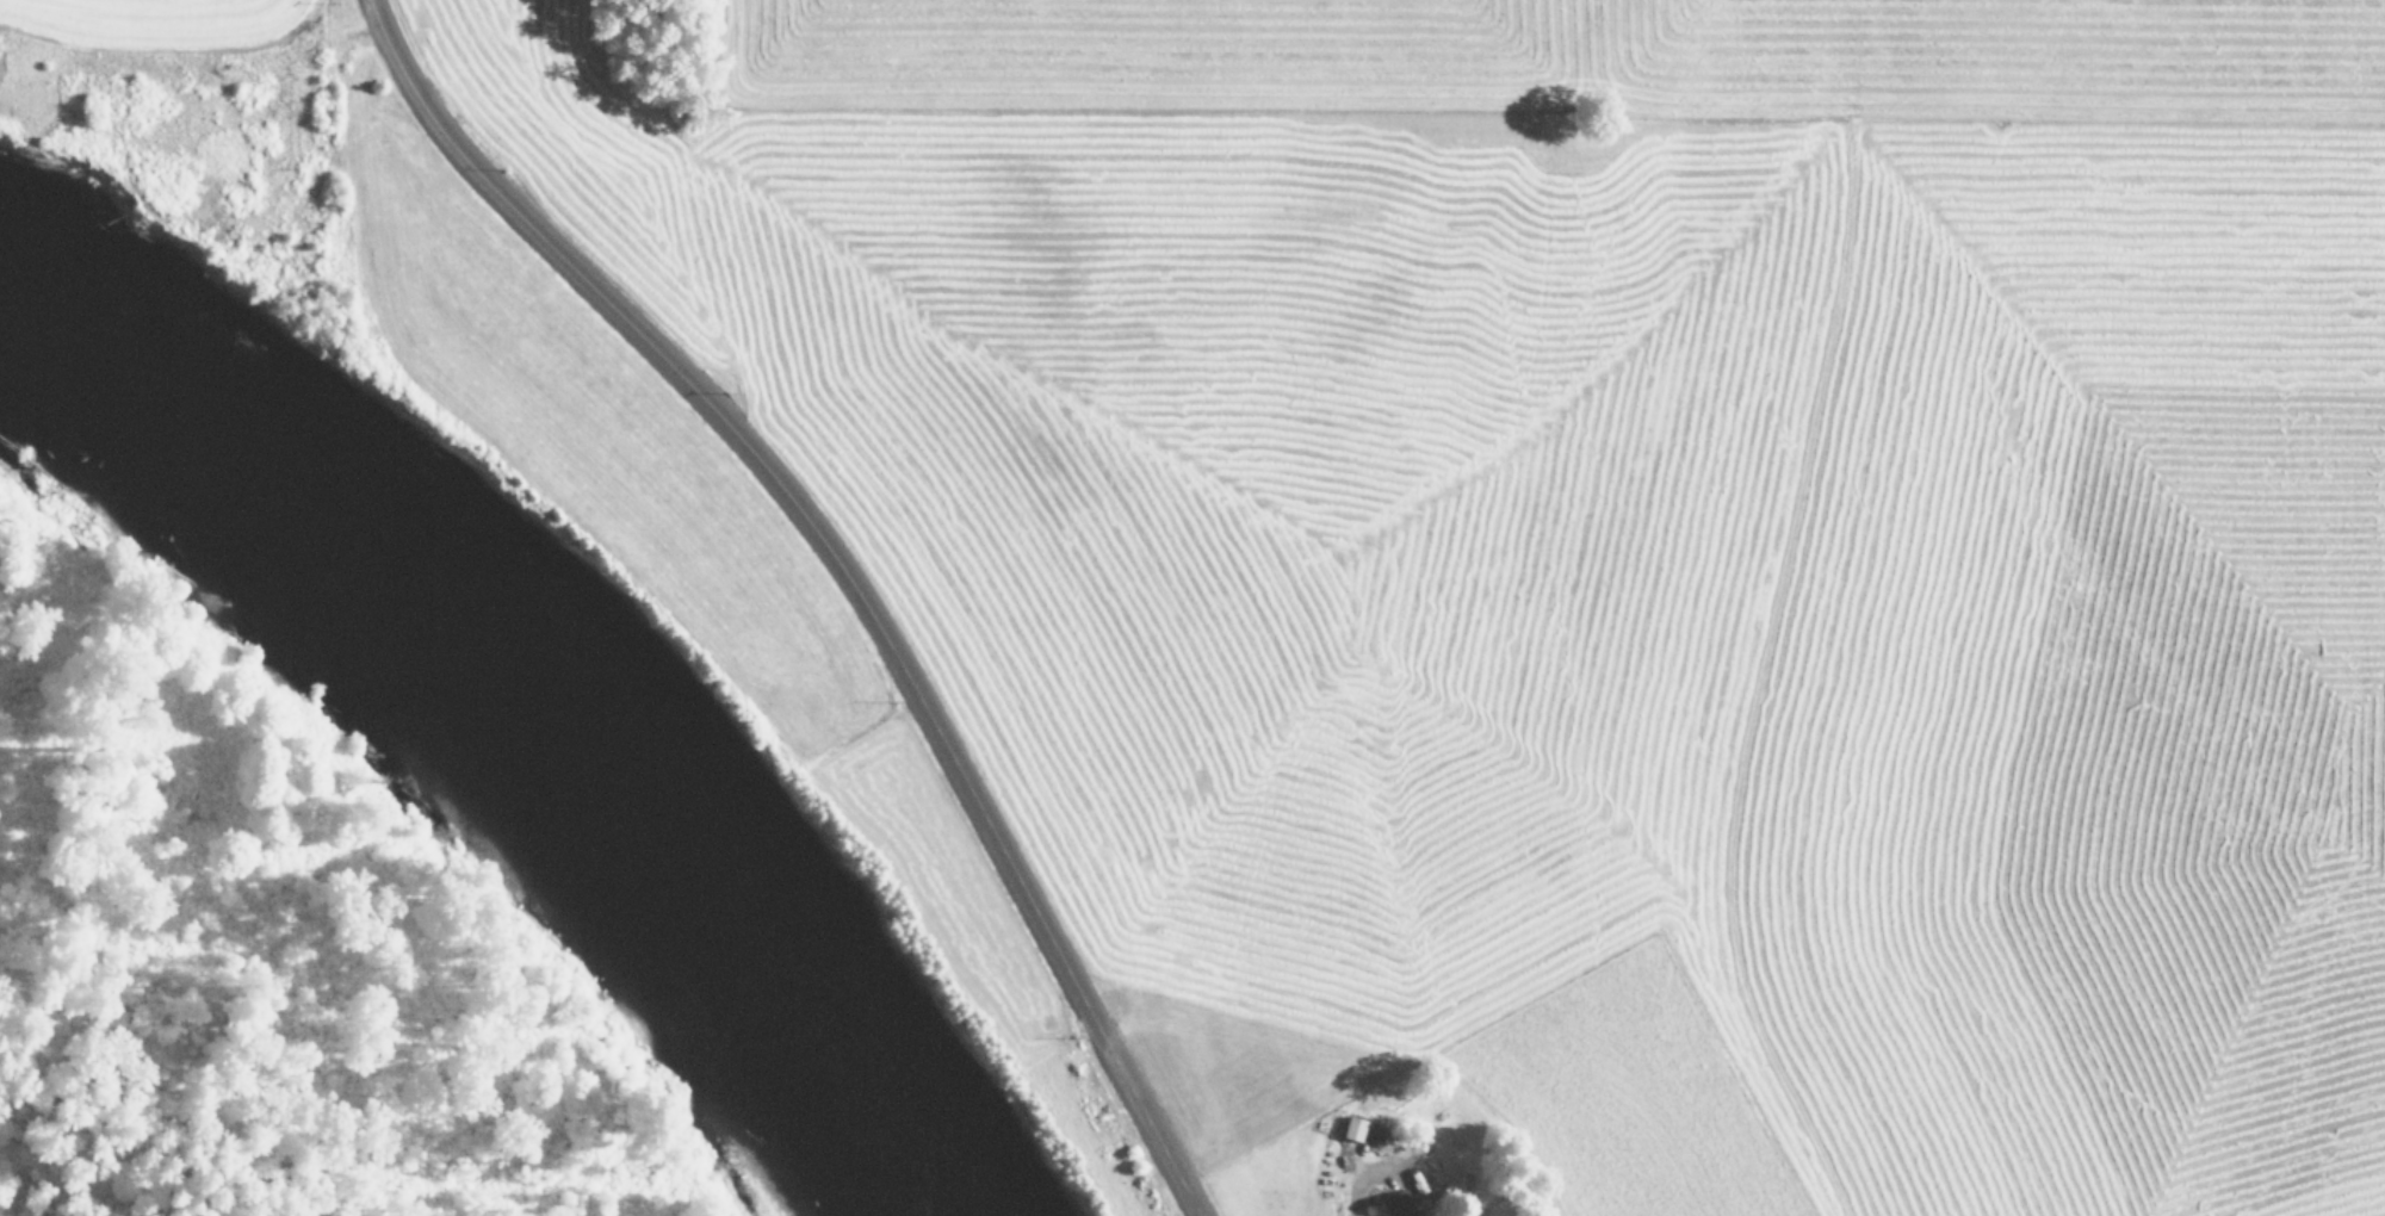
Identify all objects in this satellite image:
crop: (153, 24)
road: (859, 550)
crop: (1492, 562)
river: (529, 700)
building: (1353, 1128)
building: (1398, 1204)

